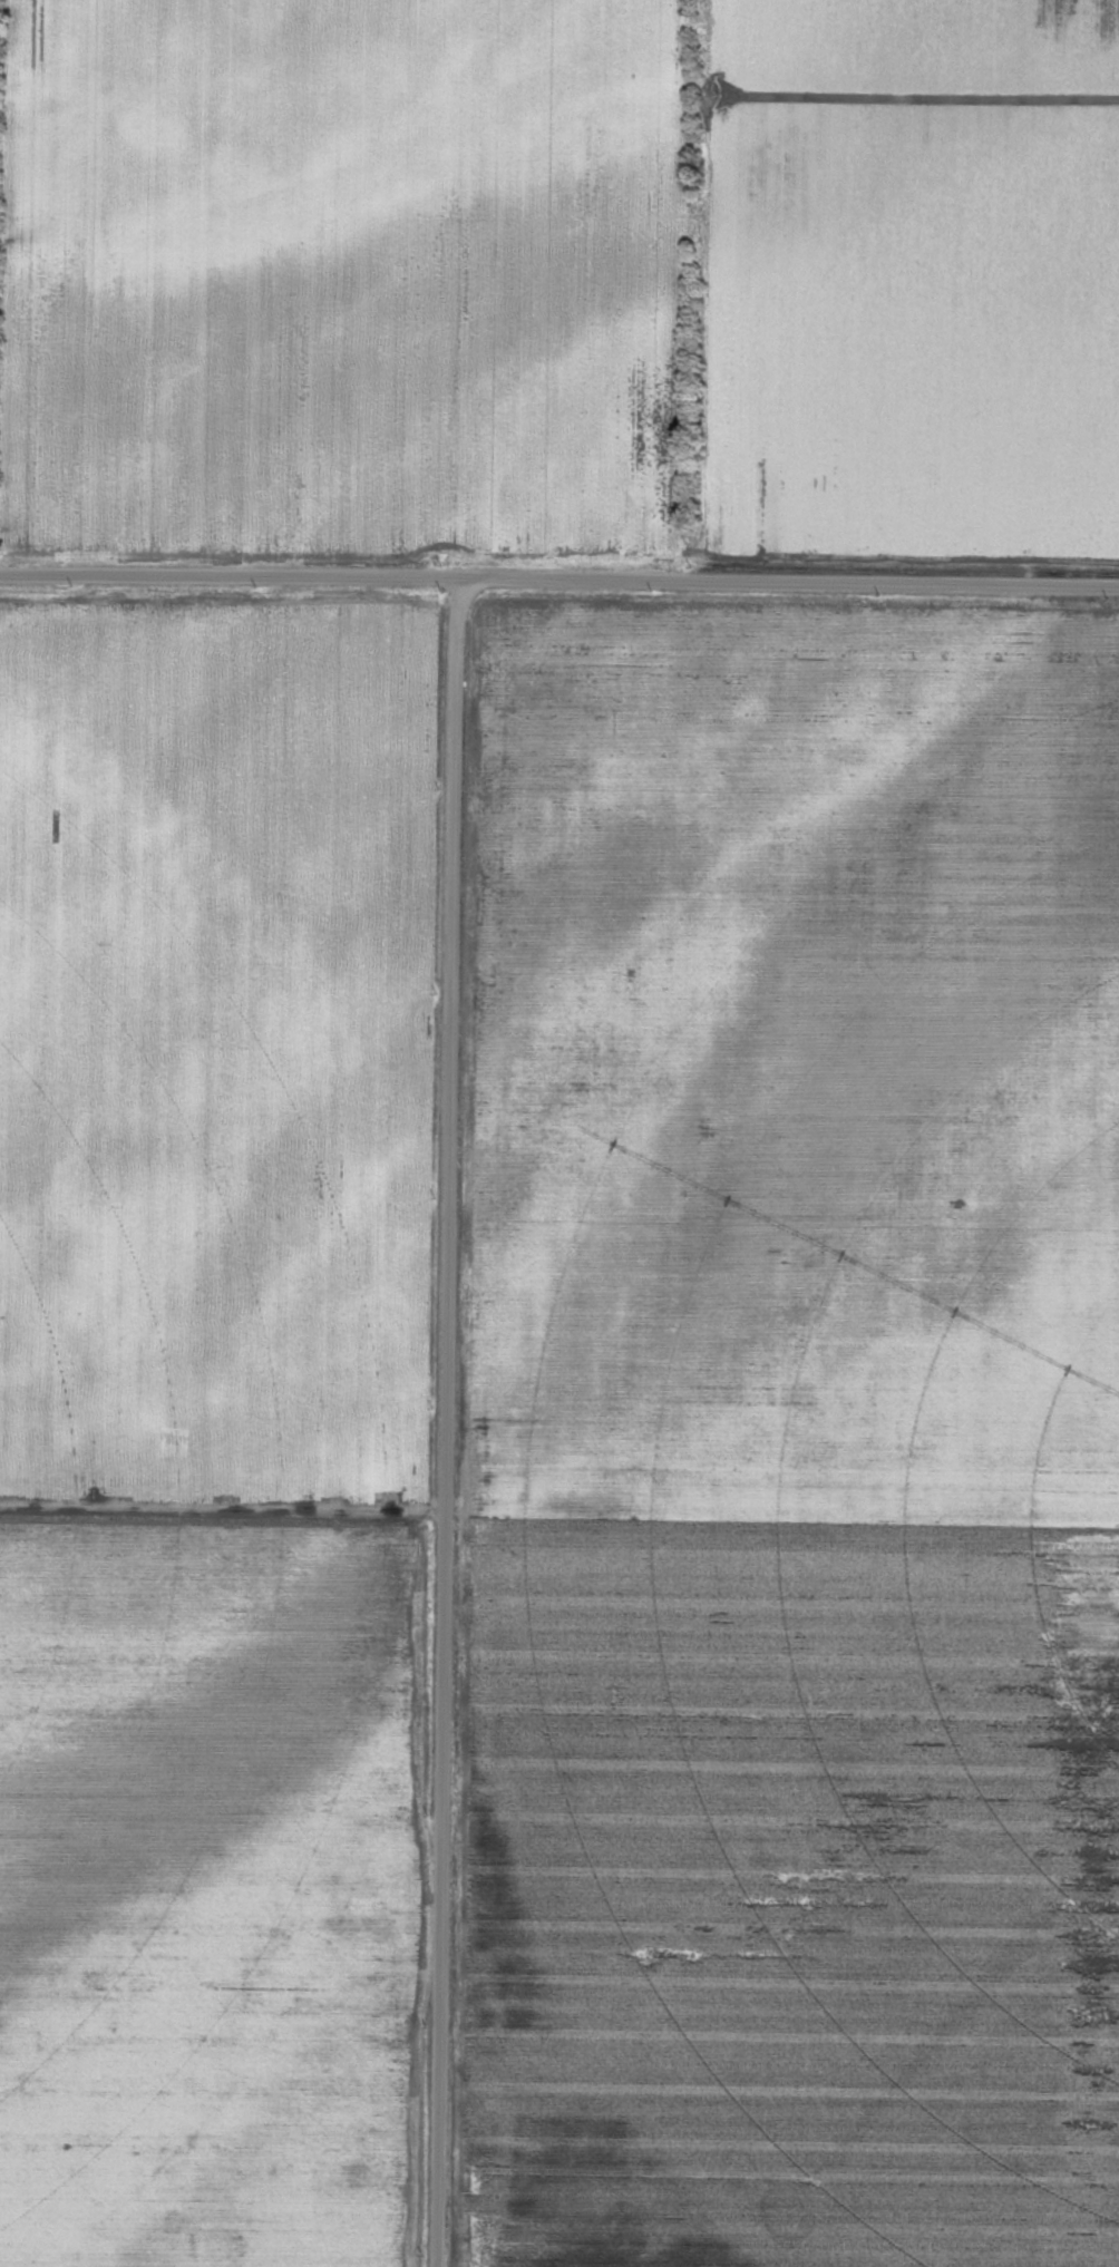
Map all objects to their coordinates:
road: (559, 577)
road: (446, 1421)
road: (559, 1507)

